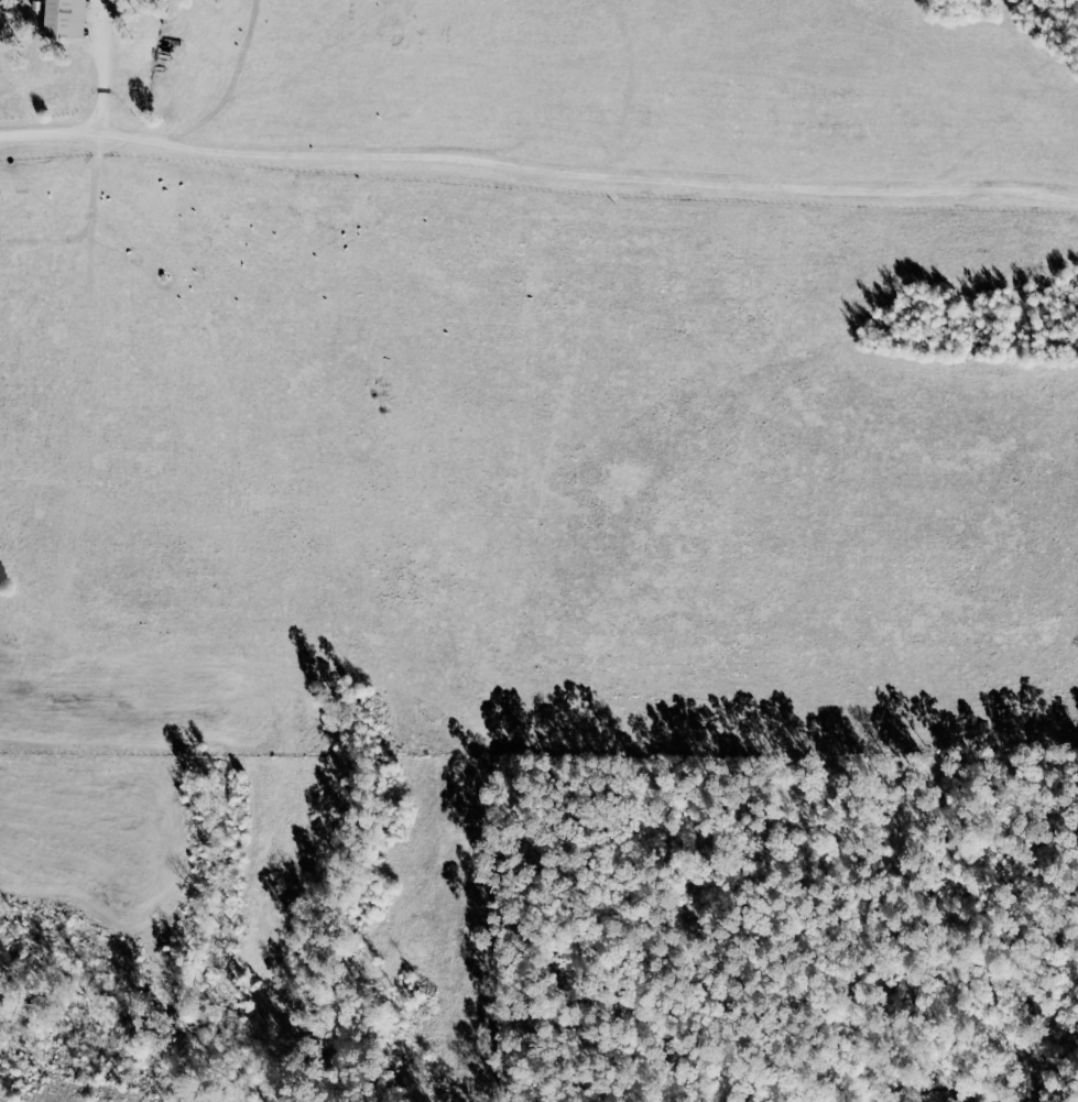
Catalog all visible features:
road: (537, 167)

